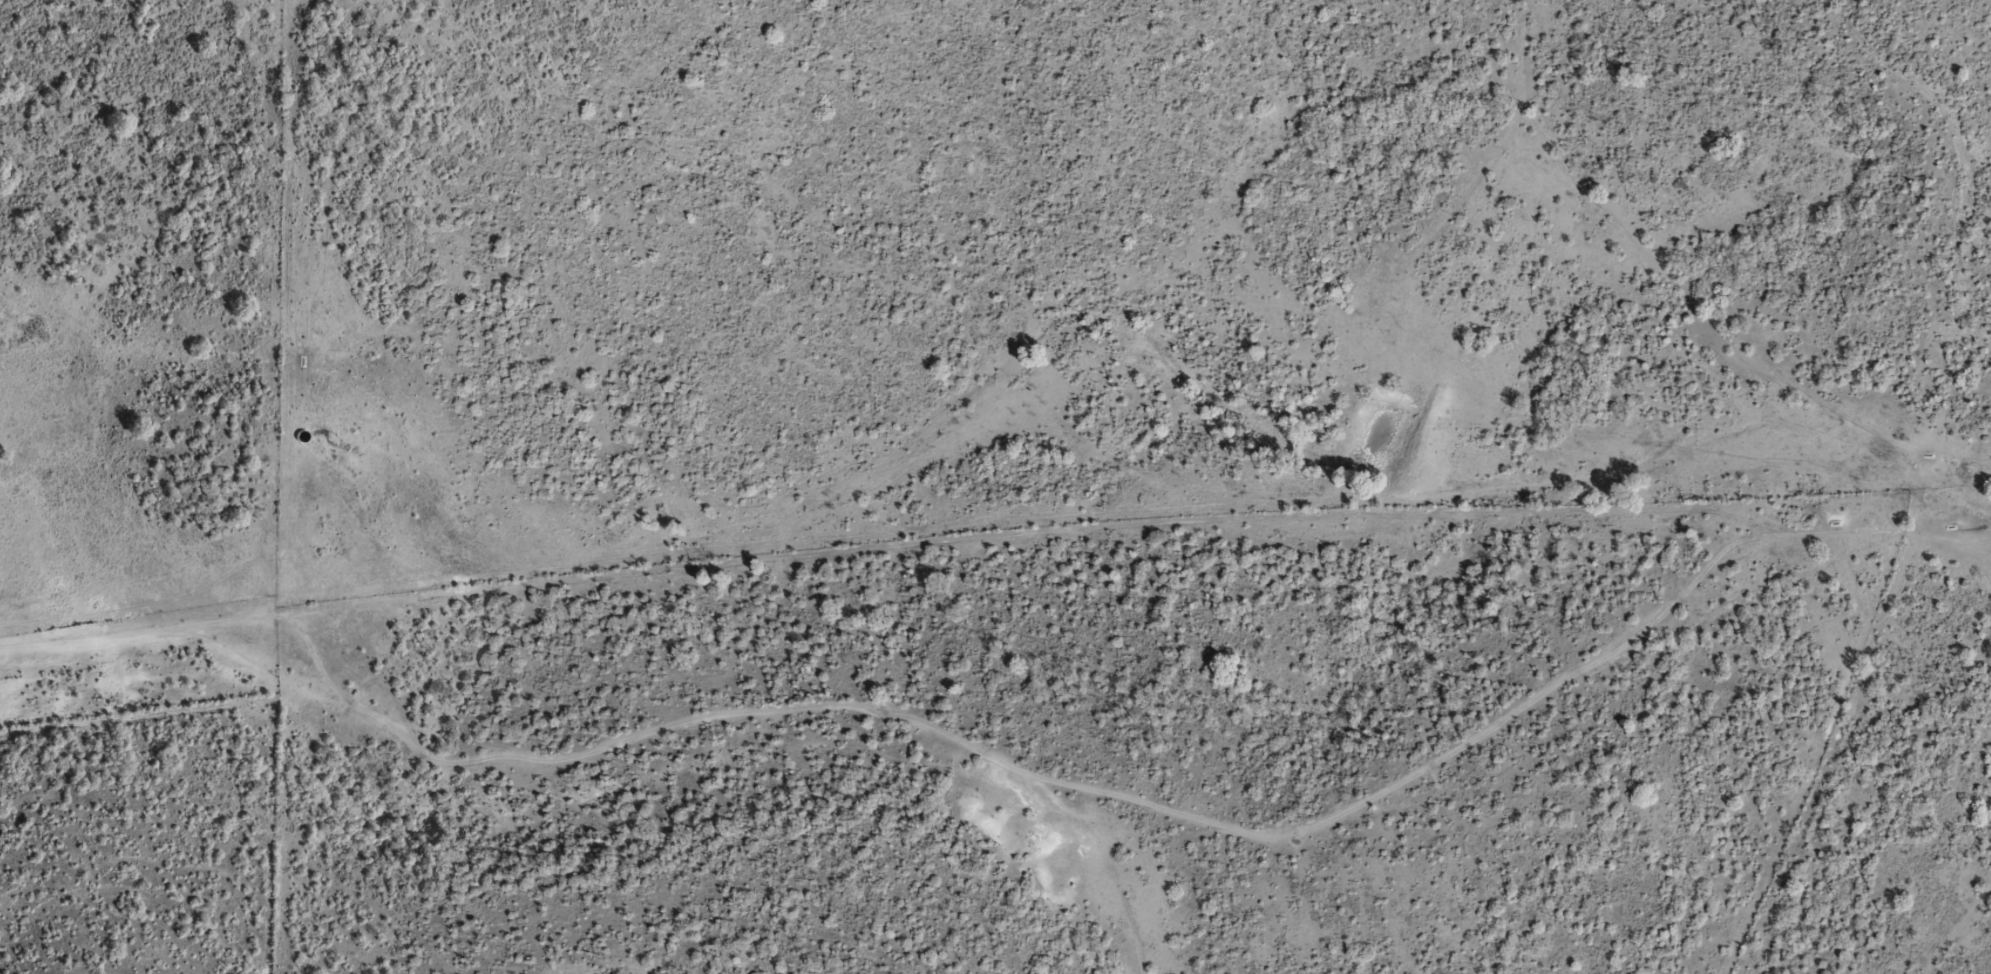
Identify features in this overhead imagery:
road: (1022, 767)

